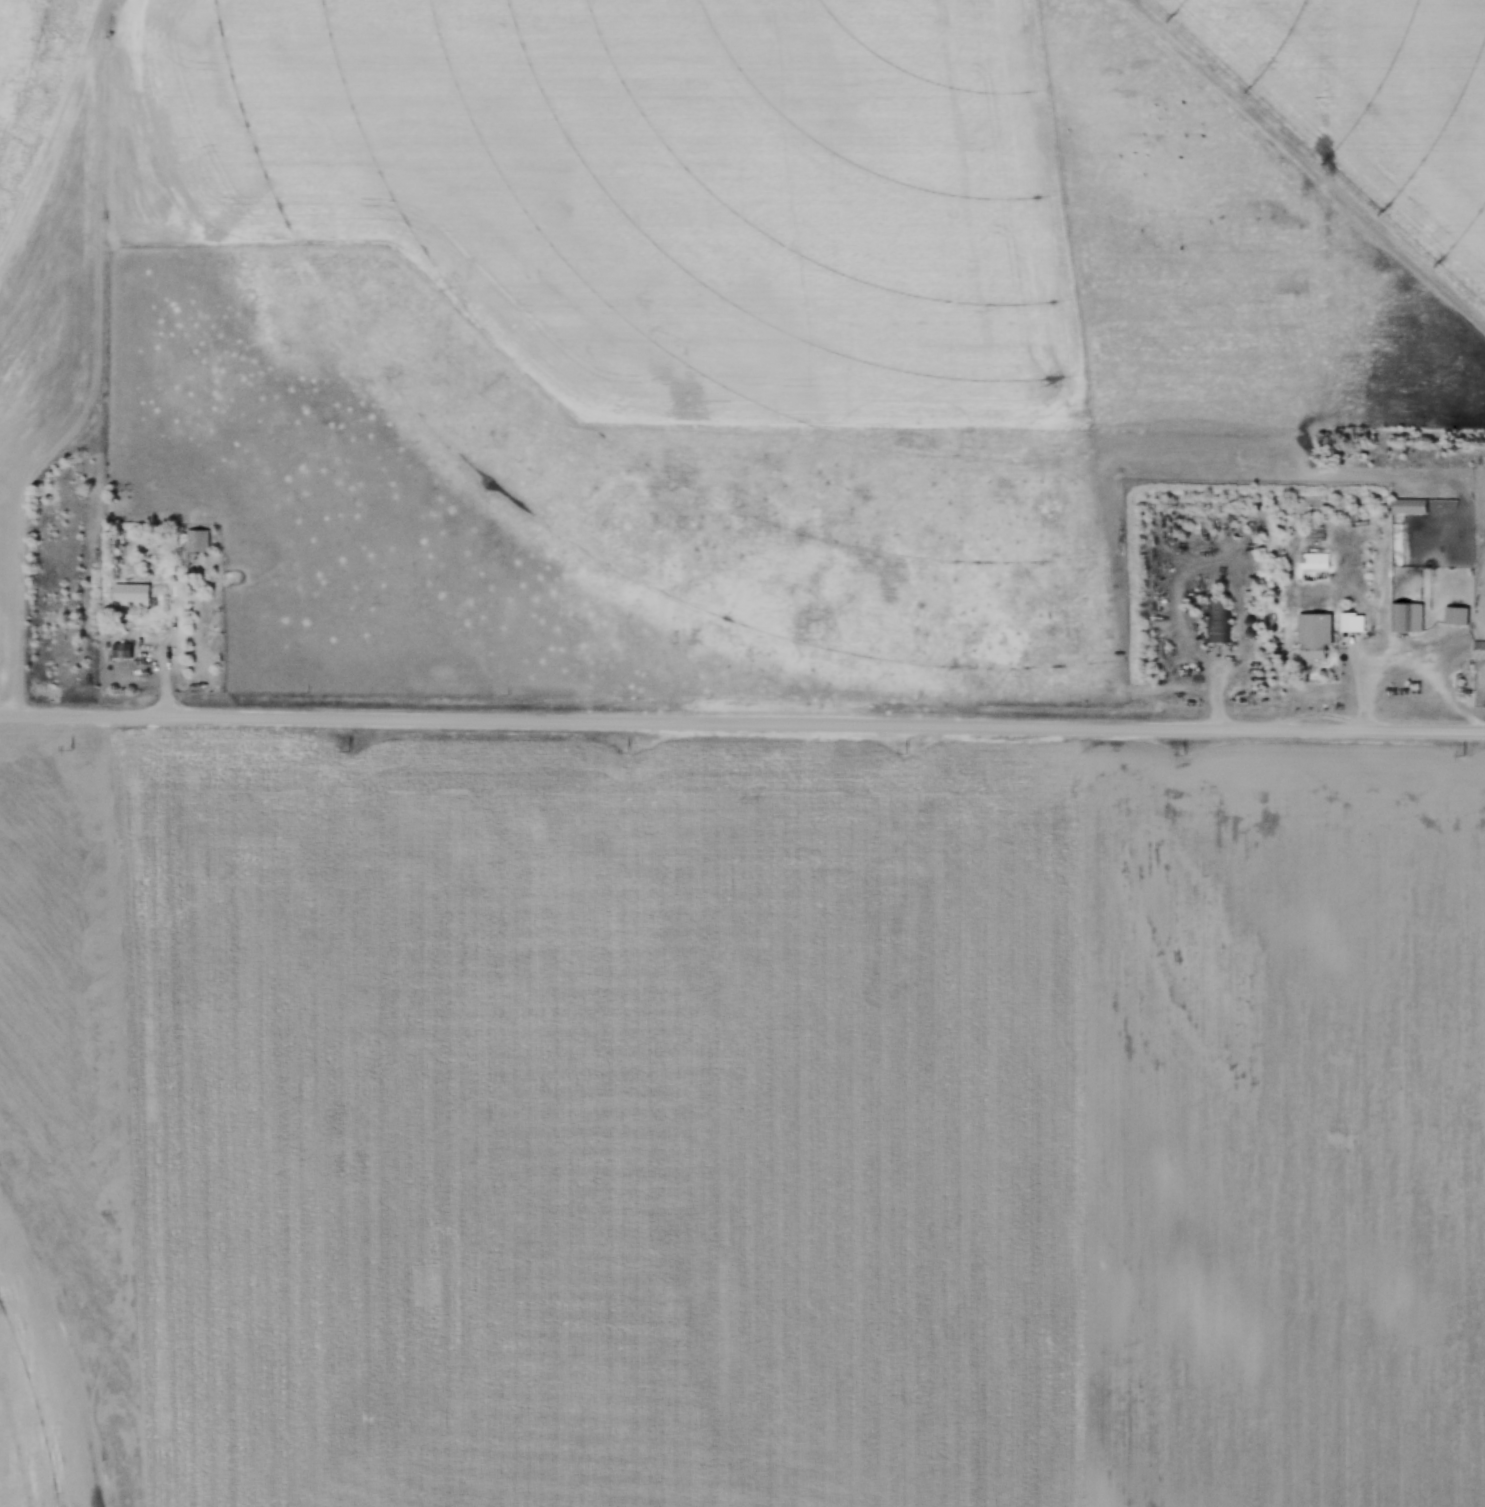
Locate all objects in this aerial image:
crop: (32, 79)
crop: (1368, 105)
crop: (661, 190)
building: (1409, 505)
building: (1312, 533)
building: (1386, 538)
building: (199, 542)
building: (1313, 560)
building: (1251, 583)
building: (129, 595)
building: (1455, 615)
building: (1407, 618)
building: (1351, 622)
building: (1215, 623)
building: (1315, 636)
building: (121, 649)
building: (1479, 650)
road: (163, 678)
road: (1362, 680)
road: (742, 723)
crop: (740, 1125)

